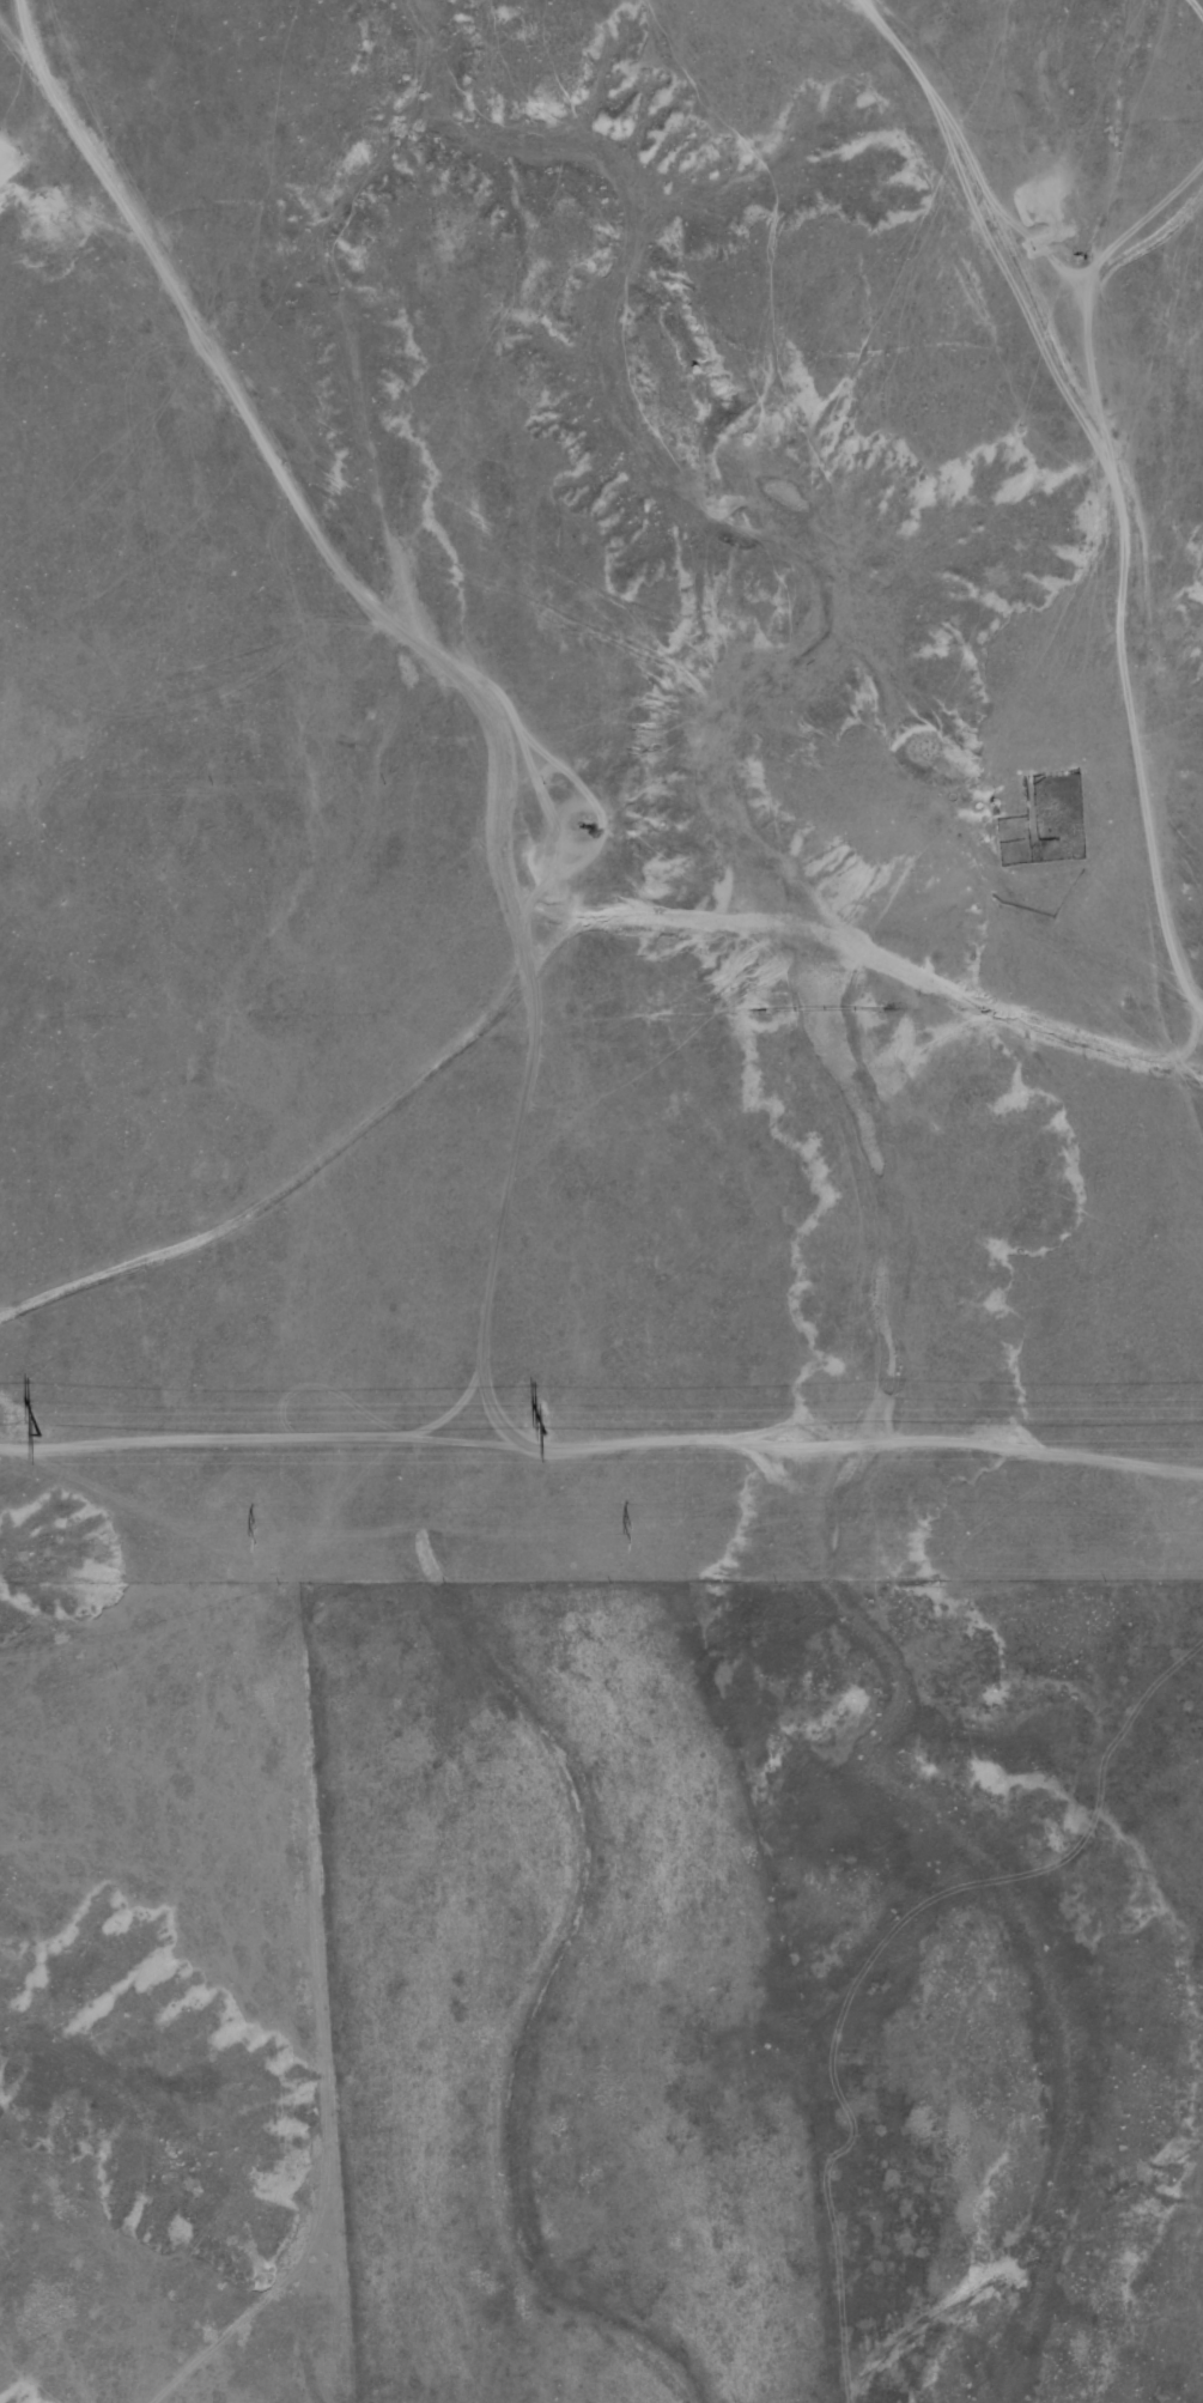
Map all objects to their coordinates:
road: (1118, 424)
road: (306, 454)
road: (561, 917)
power tower: (542, 1431)
power tower: (38, 1433)
power tower: (626, 1534)
power tower: (253, 1535)

